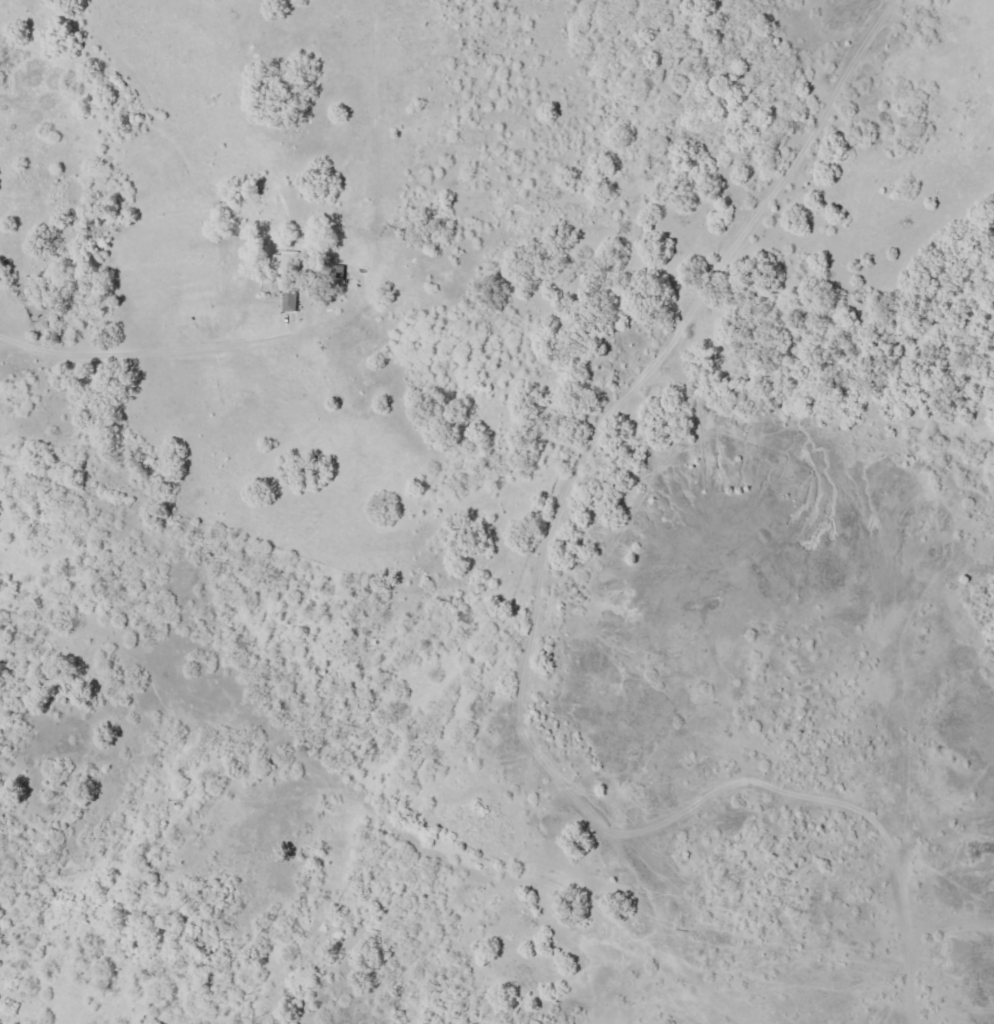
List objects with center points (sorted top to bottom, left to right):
road: (258, 341)
road: (954, 669)
road: (921, 729)

